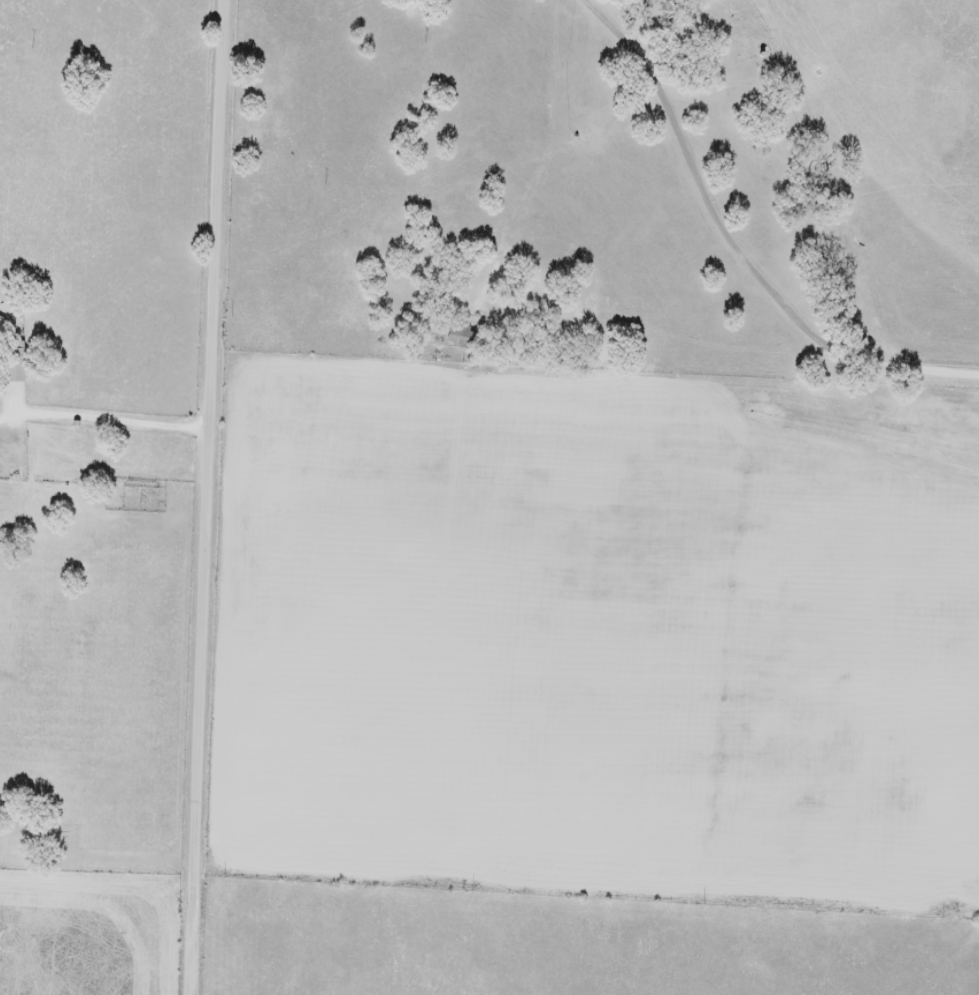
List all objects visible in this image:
road: (737, 245)
building: (461, 335)
building: (15, 361)
road: (207, 383)
road: (102, 418)
road: (209, 880)

